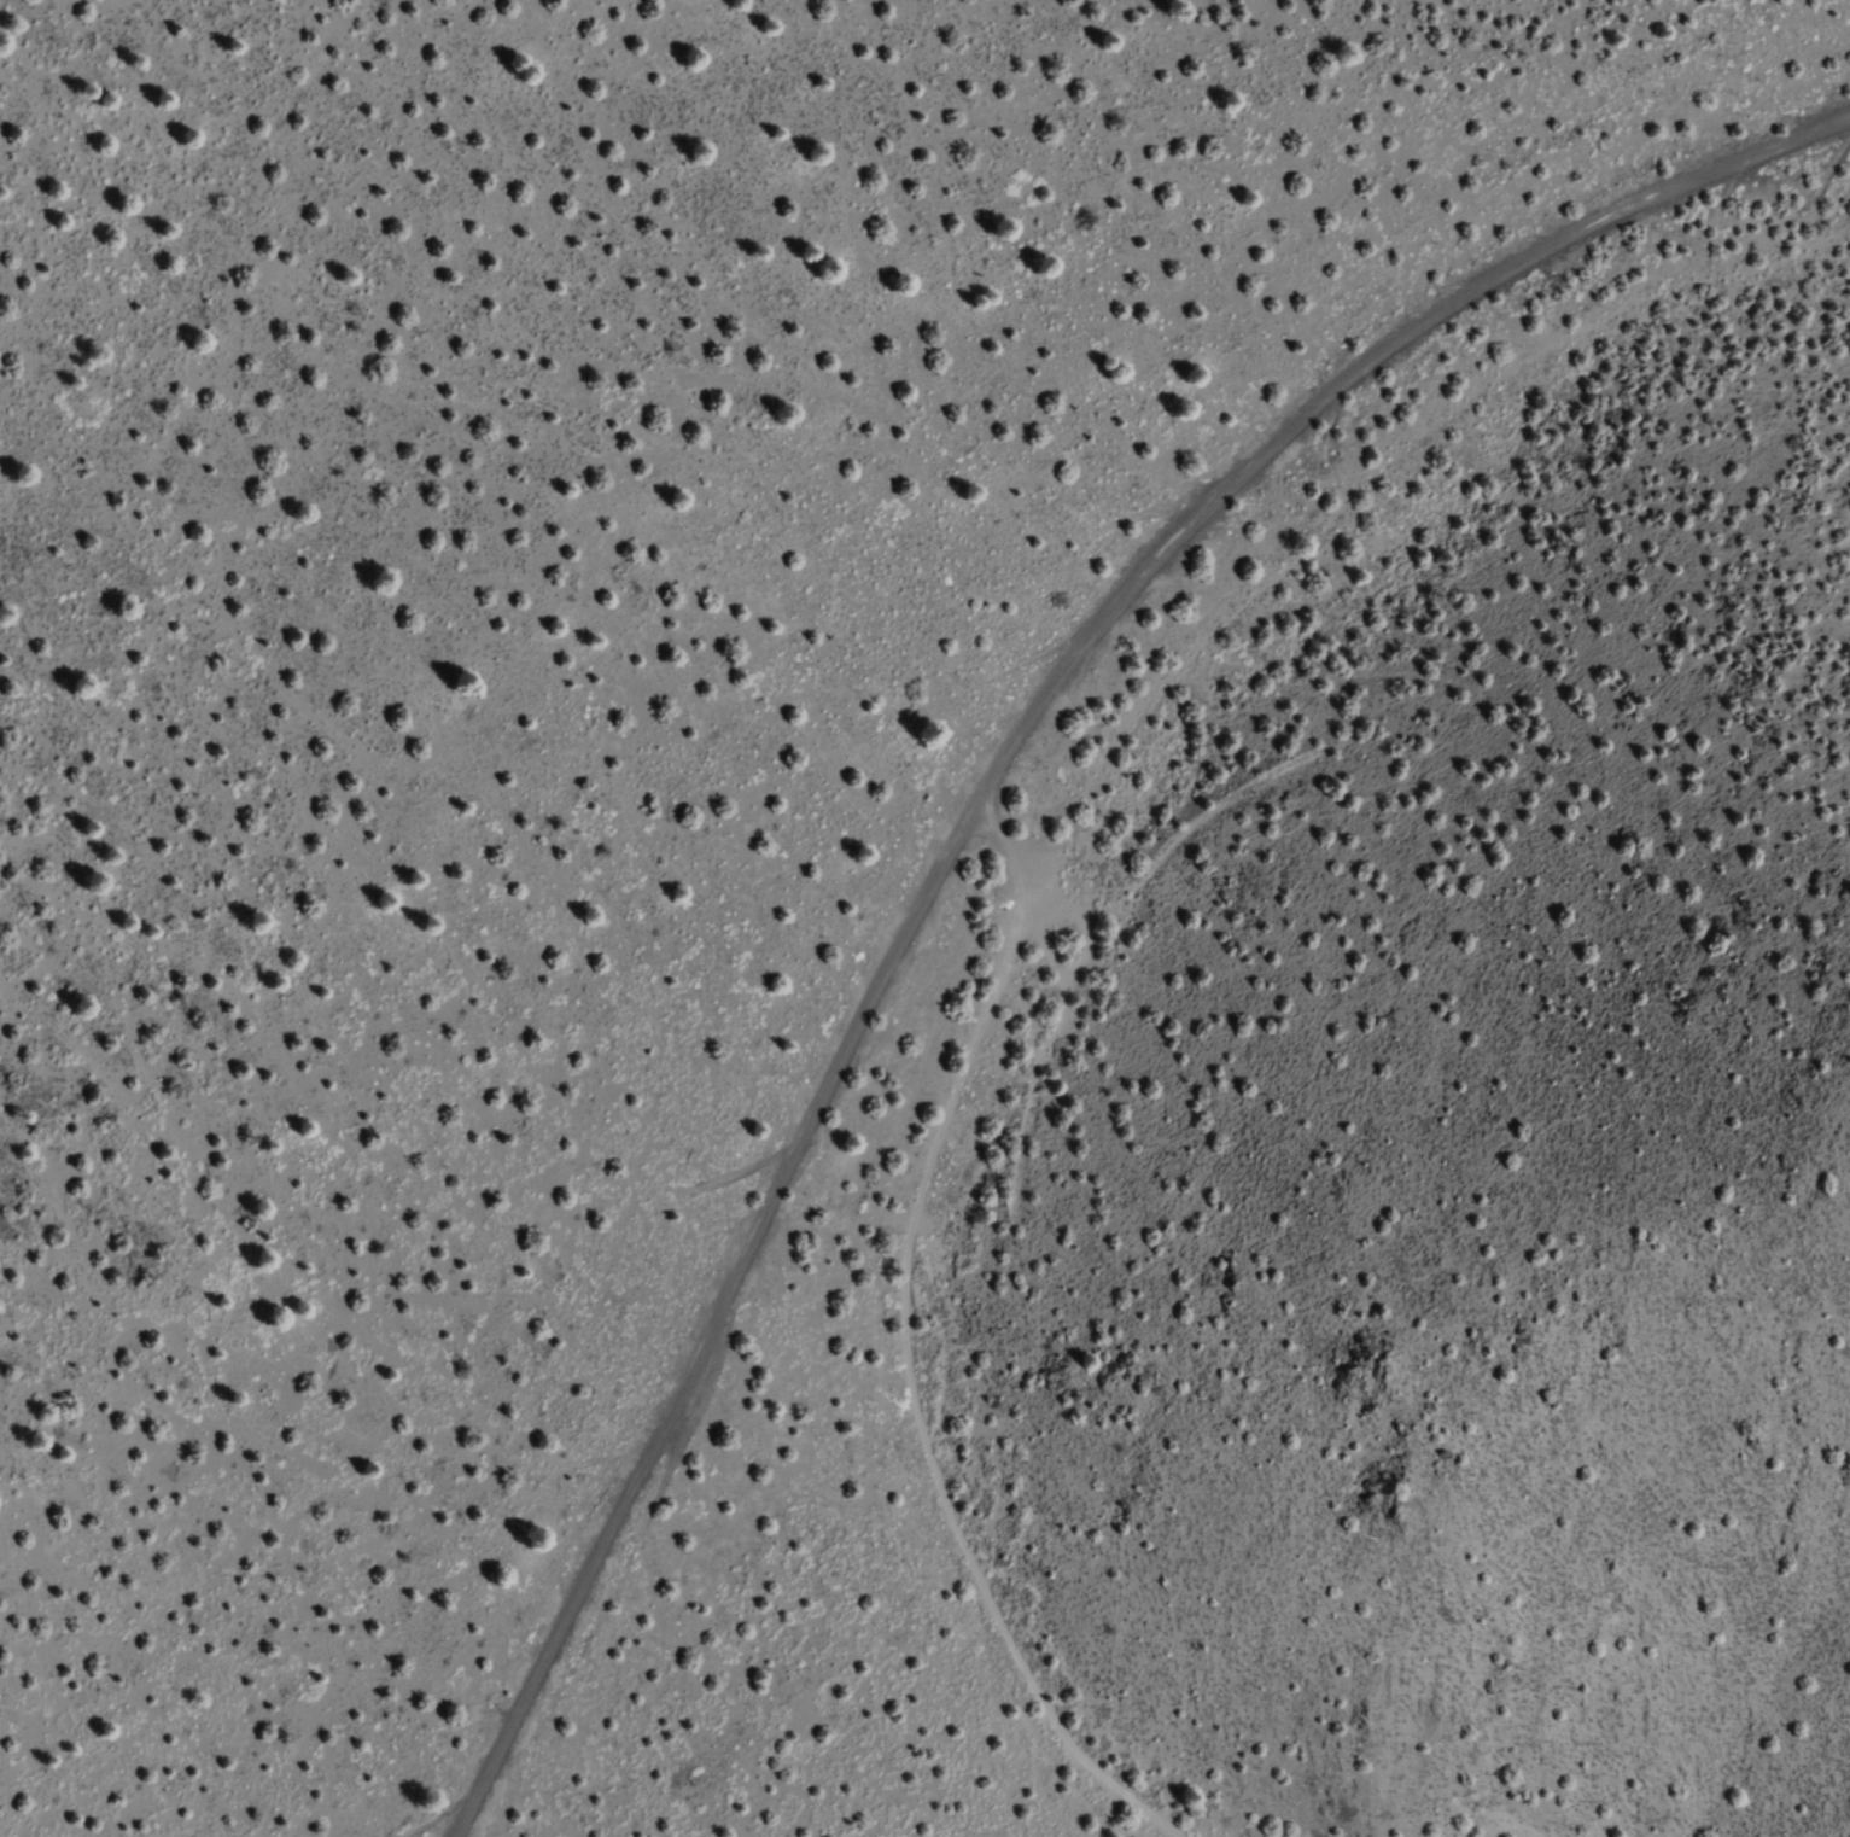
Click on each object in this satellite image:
road: (965, 809)
road: (997, 838)
road: (1031, 874)

